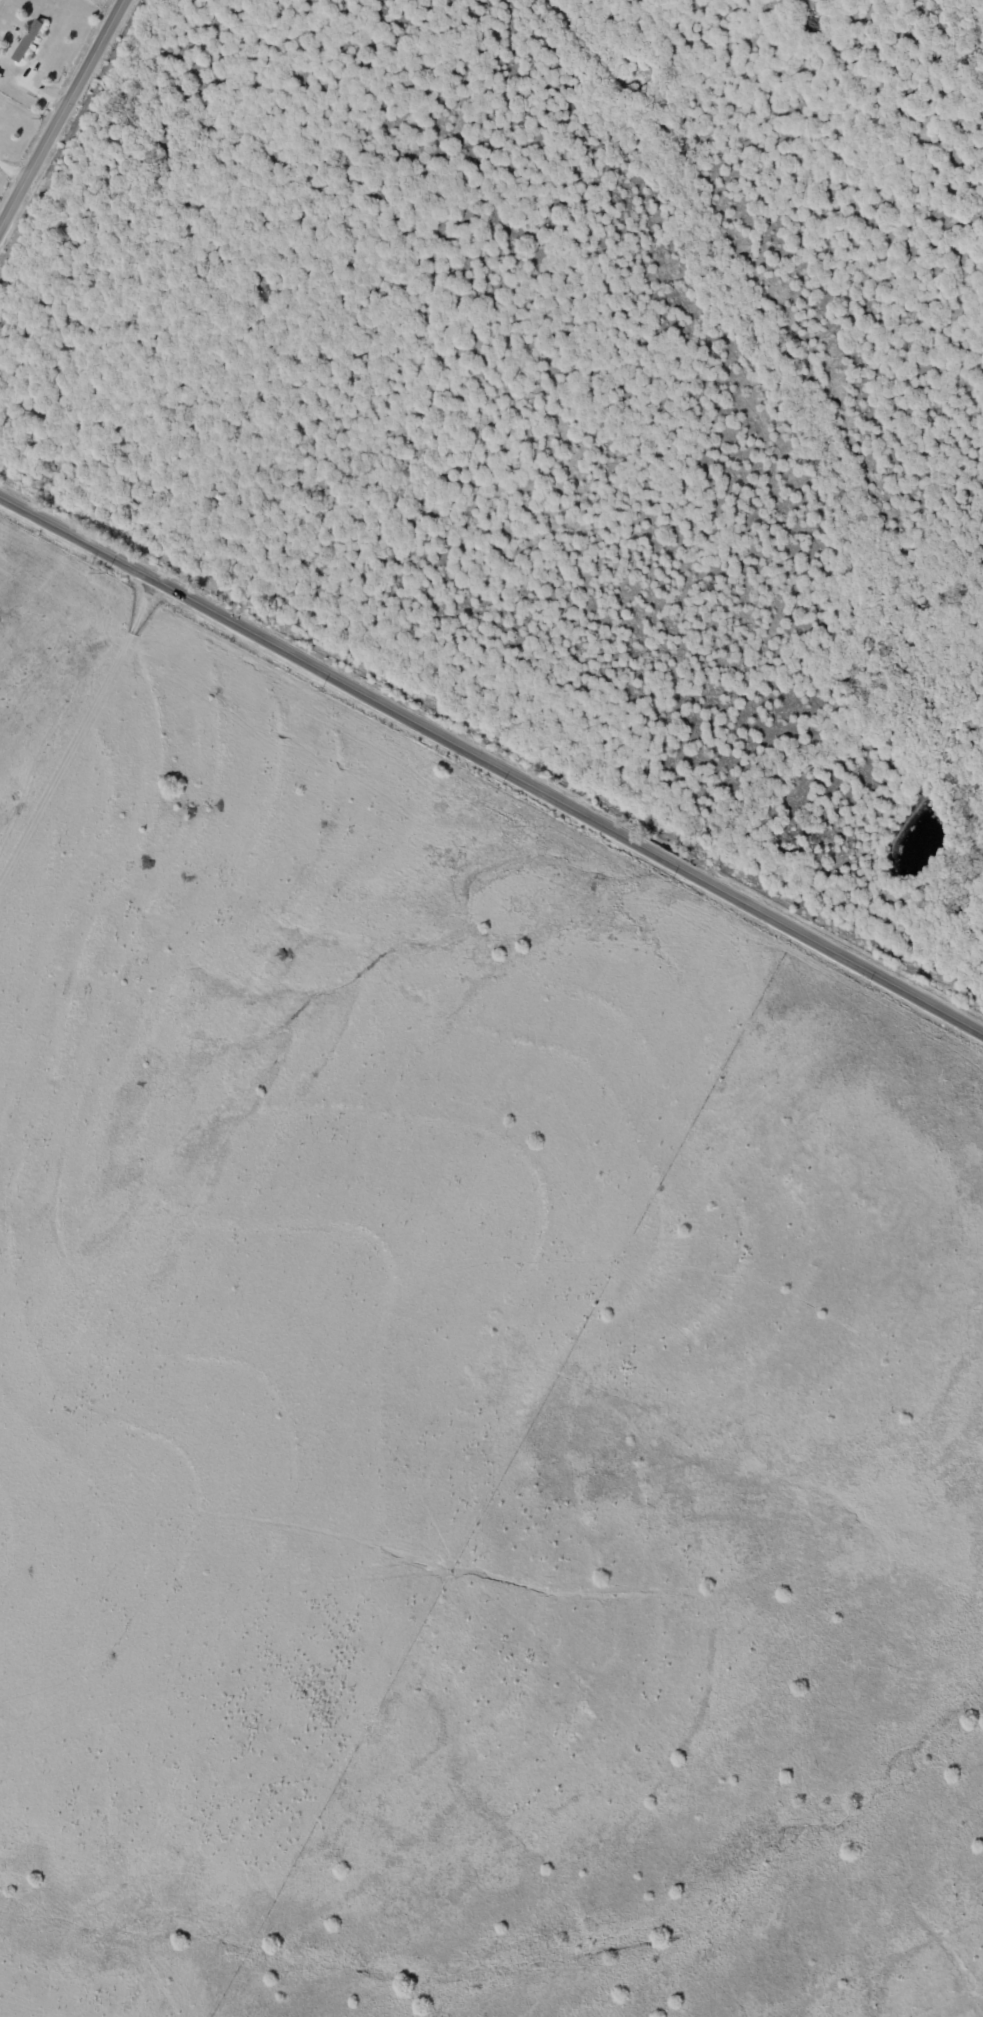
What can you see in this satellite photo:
building: (29, 41)
road: (61, 111)
road: (14, 164)
road: (78, 736)
road: (489, 770)

